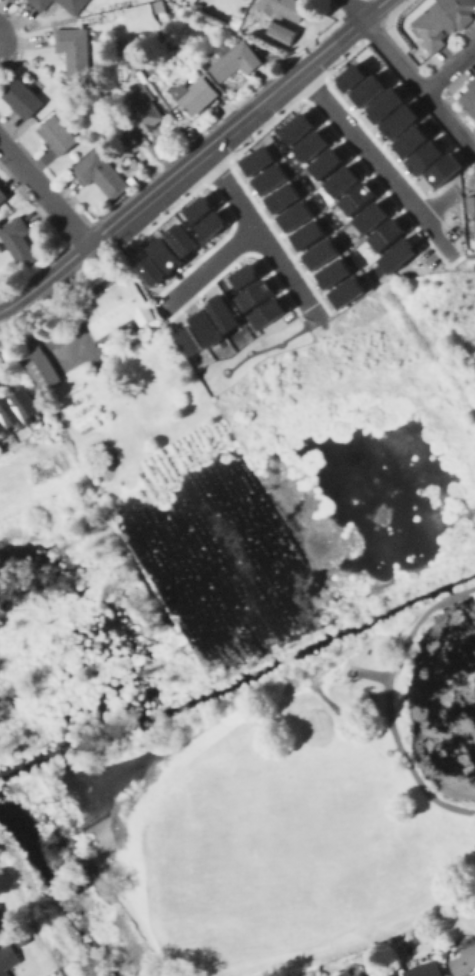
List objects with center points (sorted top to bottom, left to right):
building: (41, 4)
building: (73, 5)
road: (353, 8)
building: (443, 21)
building: (282, 25)
building: (75, 52)
road: (392, 53)
building: (236, 61)
road: (449, 68)
building: (349, 77)
building: (366, 90)
building: (197, 95)
building: (23, 99)
building: (469, 99)
building: (383, 104)
building: (144, 108)
road: (243, 112)
building: (398, 120)
road: (449, 120)
building: (295, 127)
building: (58, 135)
building: (408, 139)
road: (359, 141)
building: (309, 144)
building: (423, 157)
building: (256, 159)
building: (324, 162)
building: (442, 169)
building: (101, 174)
building: (269, 178)
building: (340, 181)
road: (43, 193)
building: (3, 196)
building: (281, 197)
building: (355, 198)
road: (436, 202)
building: (470, 206)
building: (198, 208)
building: (294, 215)
building: (369, 216)
building: (209, 225)
building: (306, 234)
building: (385, 234)
road: (437, 234)
road: (262, 235)
building: (179, 239)
building: (18, 242)
building: (319, 253)
building: (164, 254)
building: (397, 254)
road: (464, 255)
road: (54, 269)
road: (208, 269)
building: (150, 270)
building: (332, 273)
building: (244, 275)
building: (345, 292)
building: (254, 295)
building: (118, 308)
building: (222, 312)
building: (266, 313)
building: (205, 327)
building: (188, 340)
building: (40, 367)
building: (18, 412)
road: (470, 587)
road: (452, 595)
road: (388, 719)
park: (291, 795)
park: (263, 837)
building: (0, 921)
building: (21, 936)
building: (8, 960)
building: (464, 962)
building: (421, 970)
building: (345, 973)
building: (359, 974)

